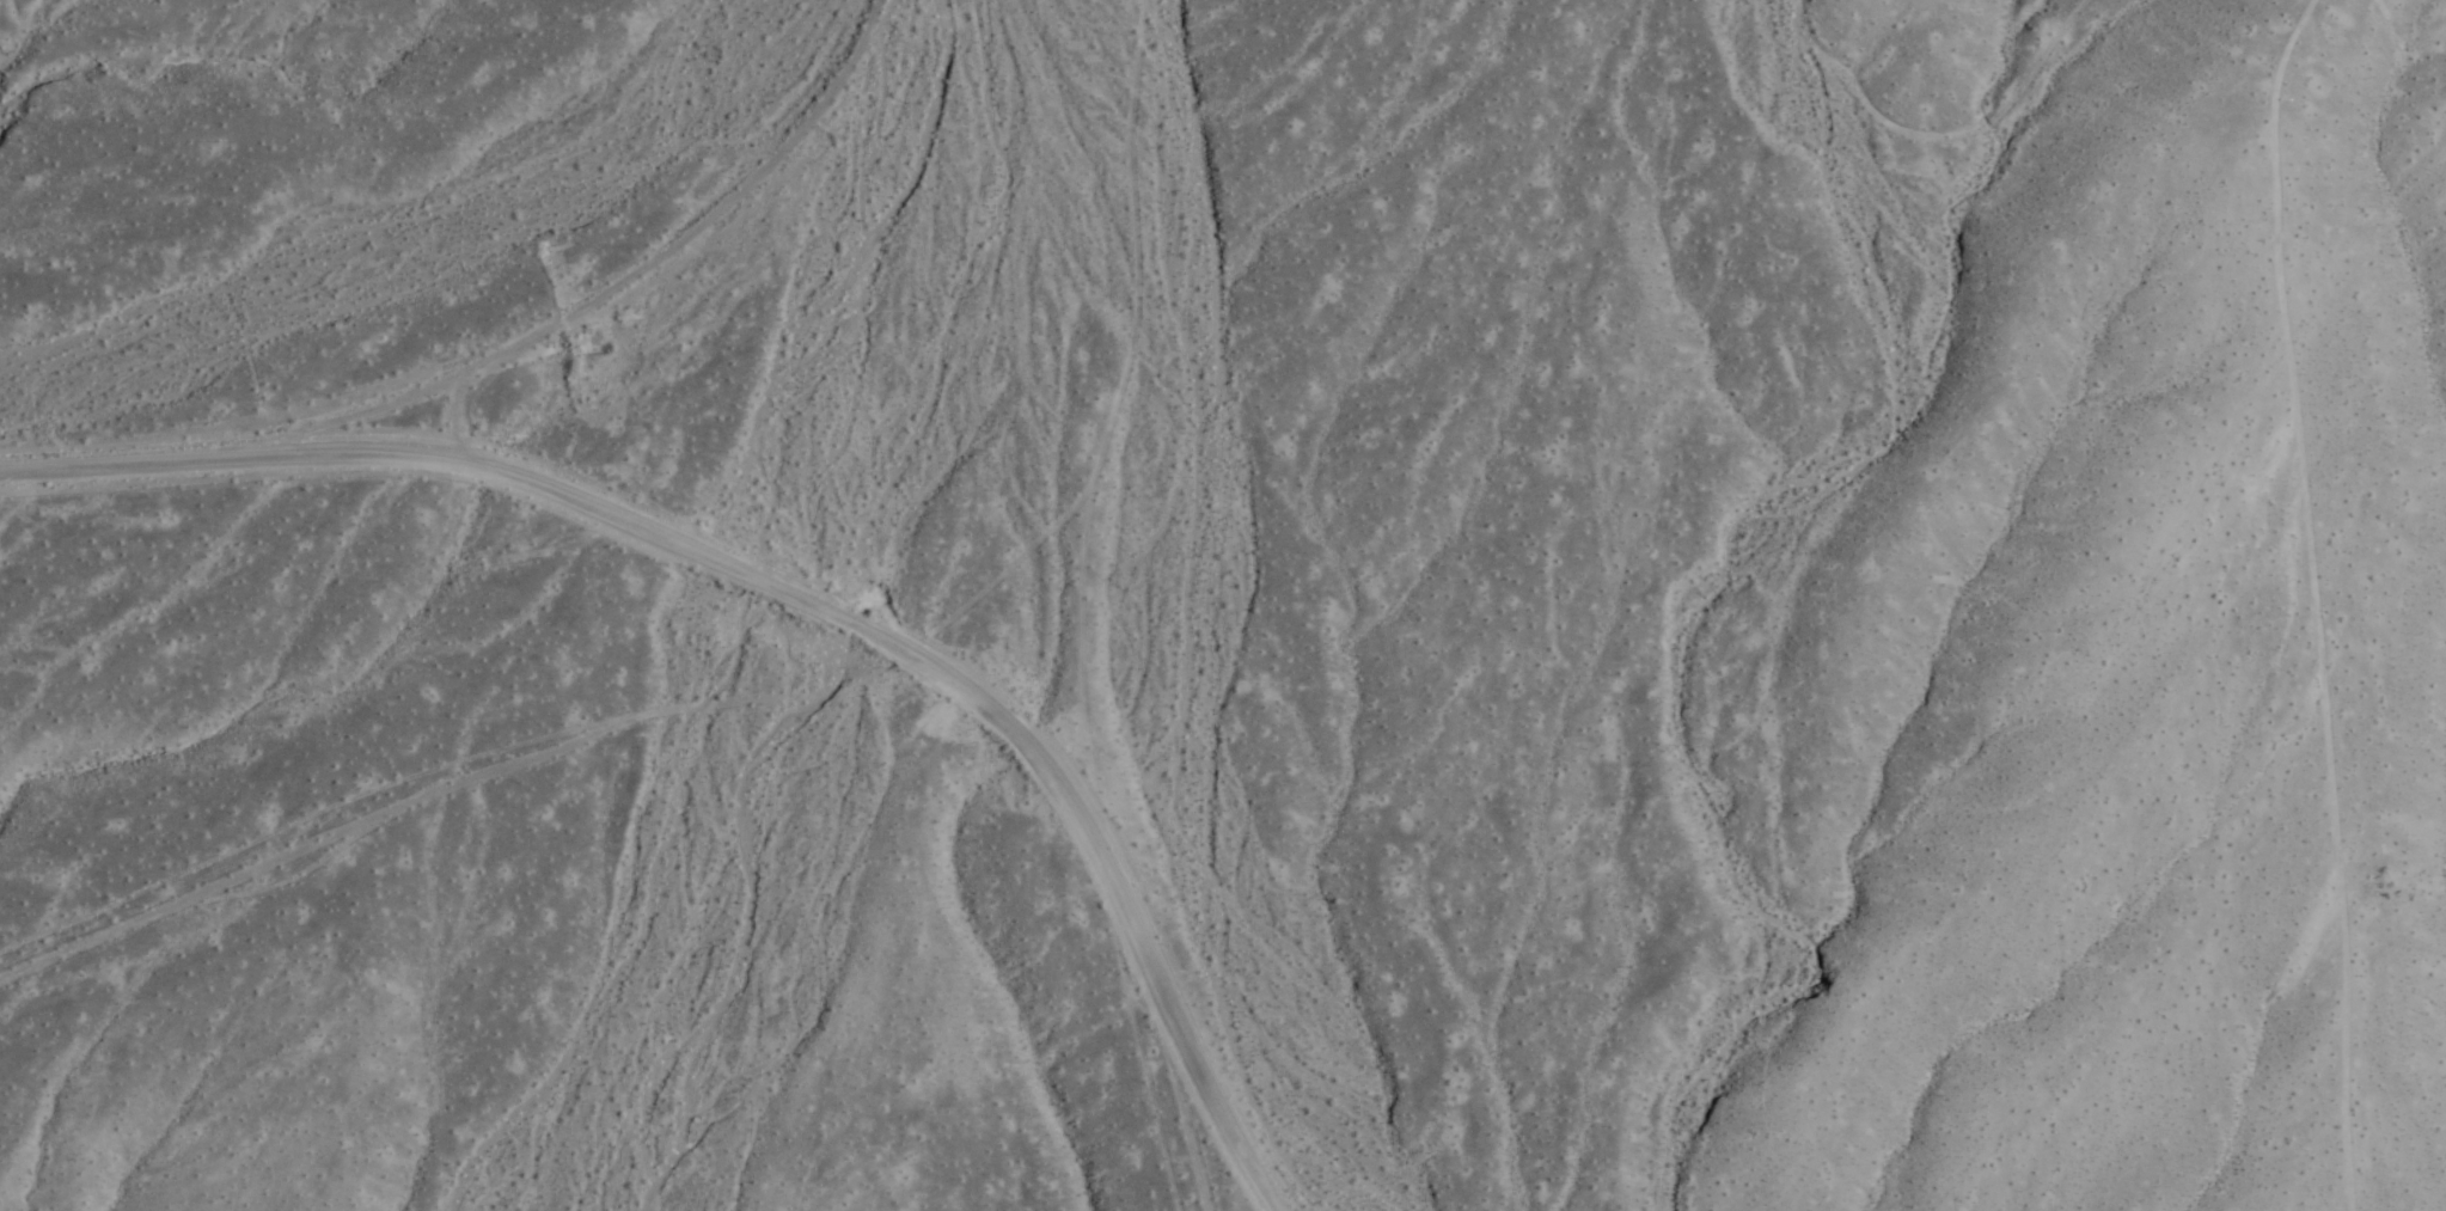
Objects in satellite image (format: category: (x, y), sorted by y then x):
road: (672, 240)
road: (794, 593)
road: (2314, 600)

